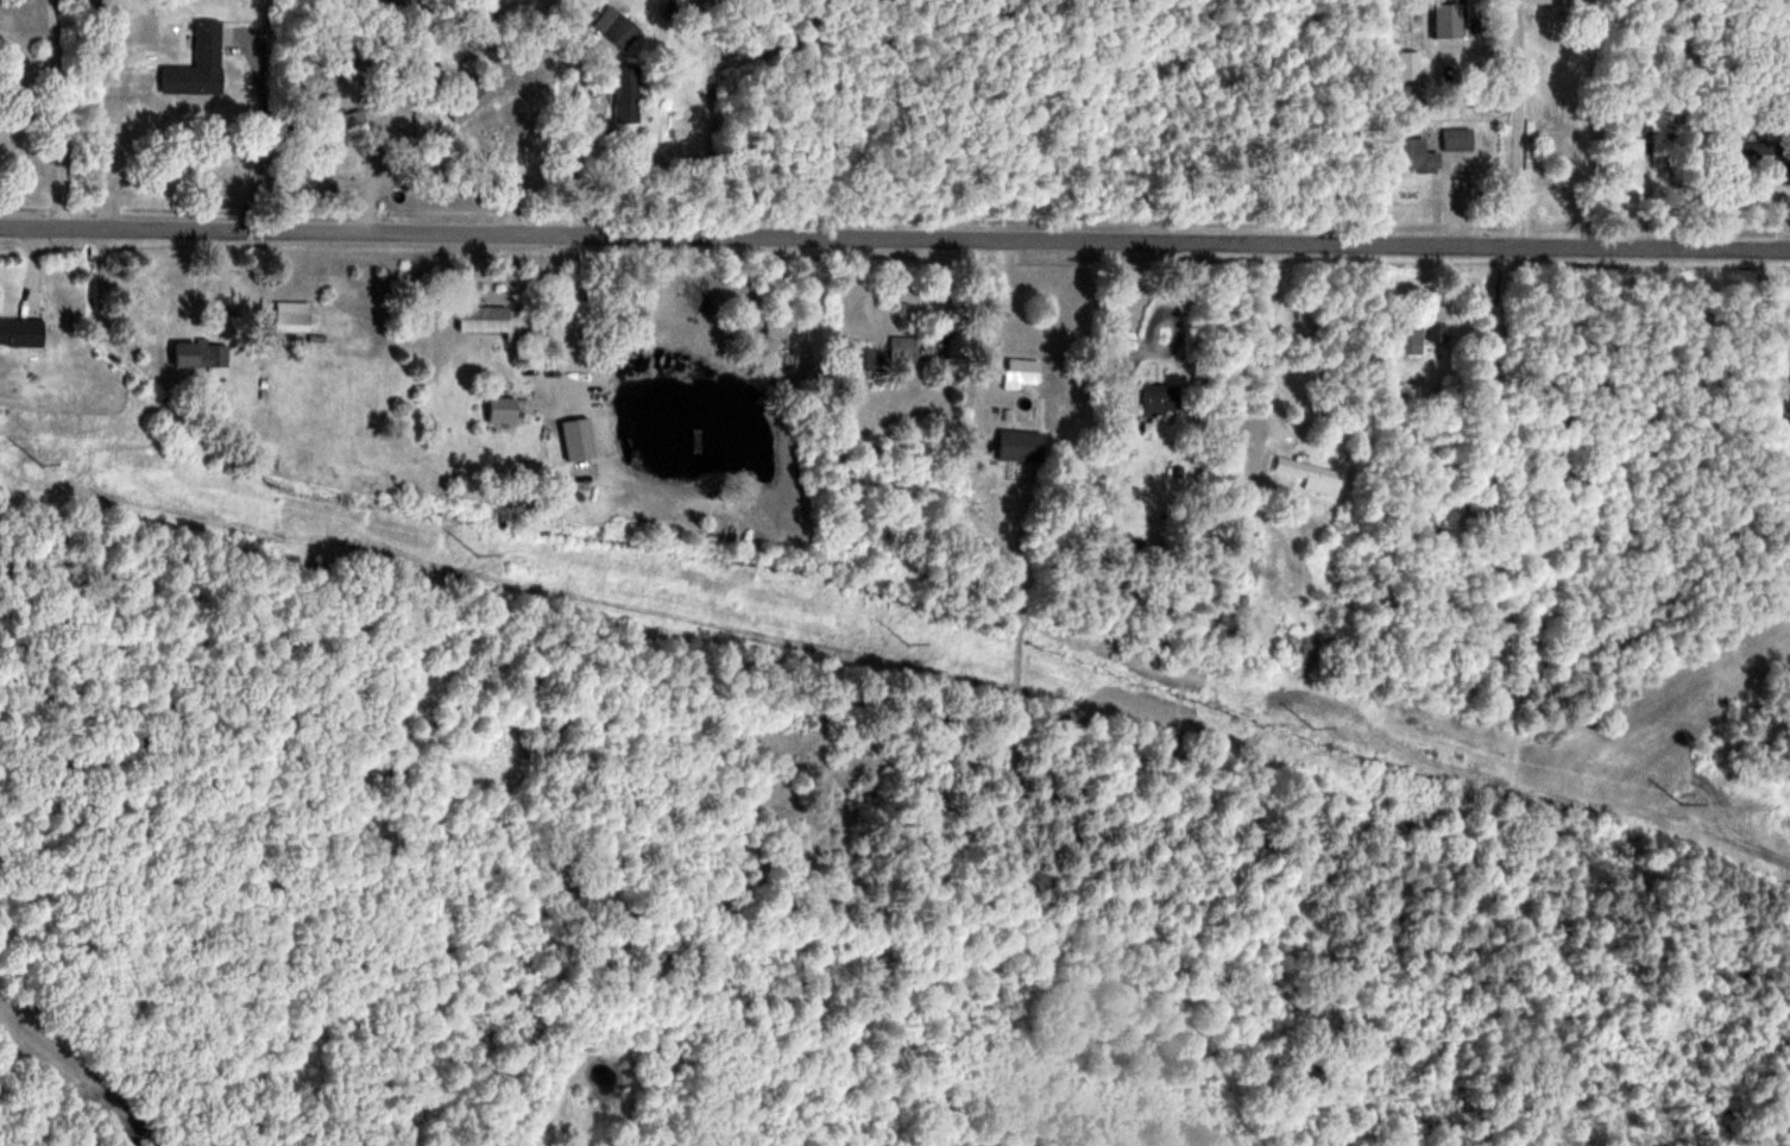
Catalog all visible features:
building: (1550, 1)
building: (623, 30)
building: (198, 63)
building: (628, 93)
building: (471, 99)
road: (49, 114)
road: (571, 118)
road: (1104, 122)
road: (1518, 125)
road: (257, 132)
building: (1458, 138)
building: (1753, 149)
building: (1416, 155)
road: (894, 243)
road: (567, 304)
building: (292, 315)
building: (483, 317)
building: (20, 330)
building: (1438, 332)
building: (1408, 333)
road: (1266, 336)
building: (905, 347)
building: (201, 353)
building: (865, 357)
building: (1023, 371)
building: (1162, 398)
building: (502, 409)
building: (1788, 424)
building: (1021, 445)
power tower: (45, 462)
building: (1316, 477)
building: (1133, 547)
power tower: (481, 554)
power tower: (915, 643)
power tower: (1319, 725)
power tower: (1685, 802)

